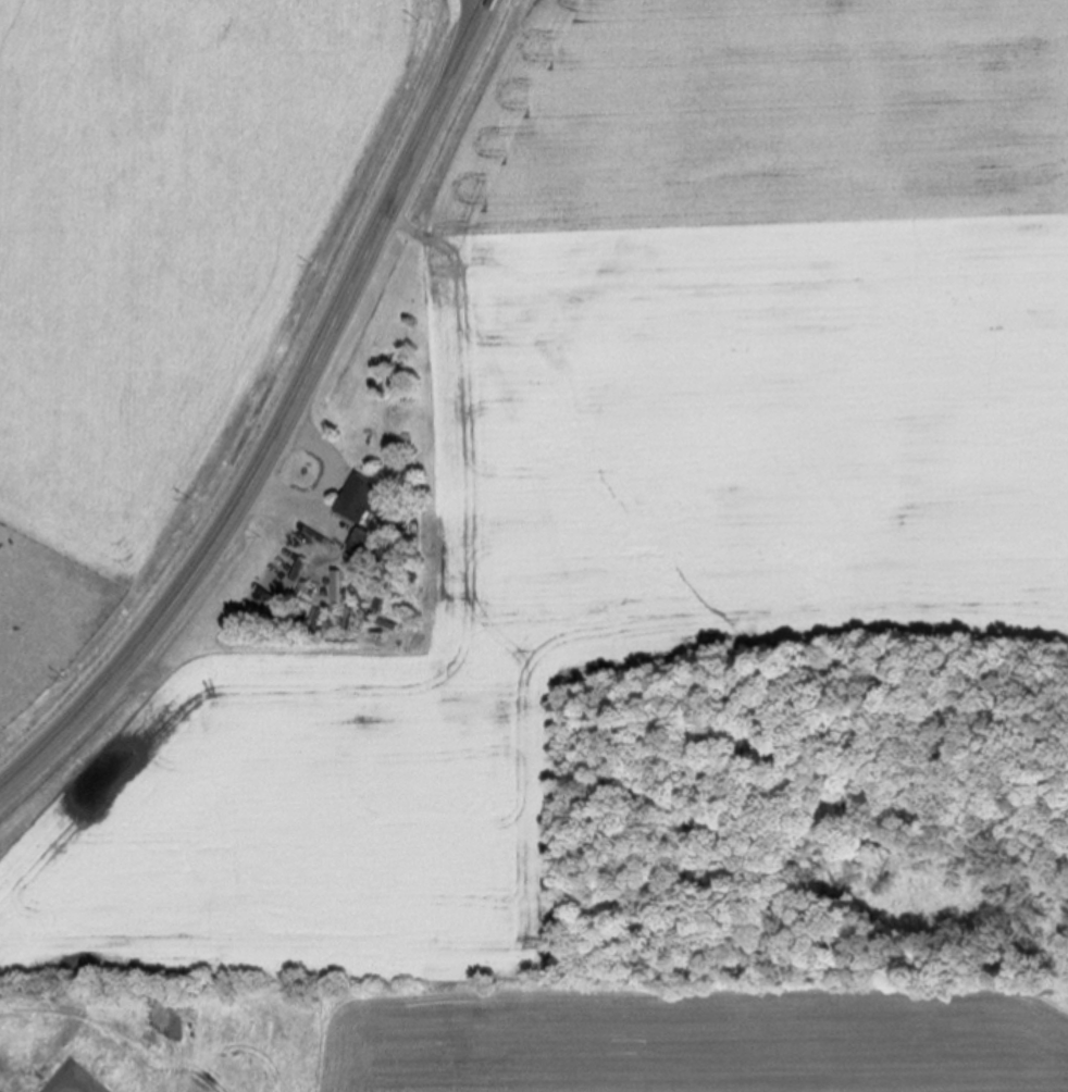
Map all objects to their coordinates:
road: (285, 423)
road: (325, 486)
building: (367, 501)
building: (381, 550)
building: (339, 593)
building: (1, 1090)

